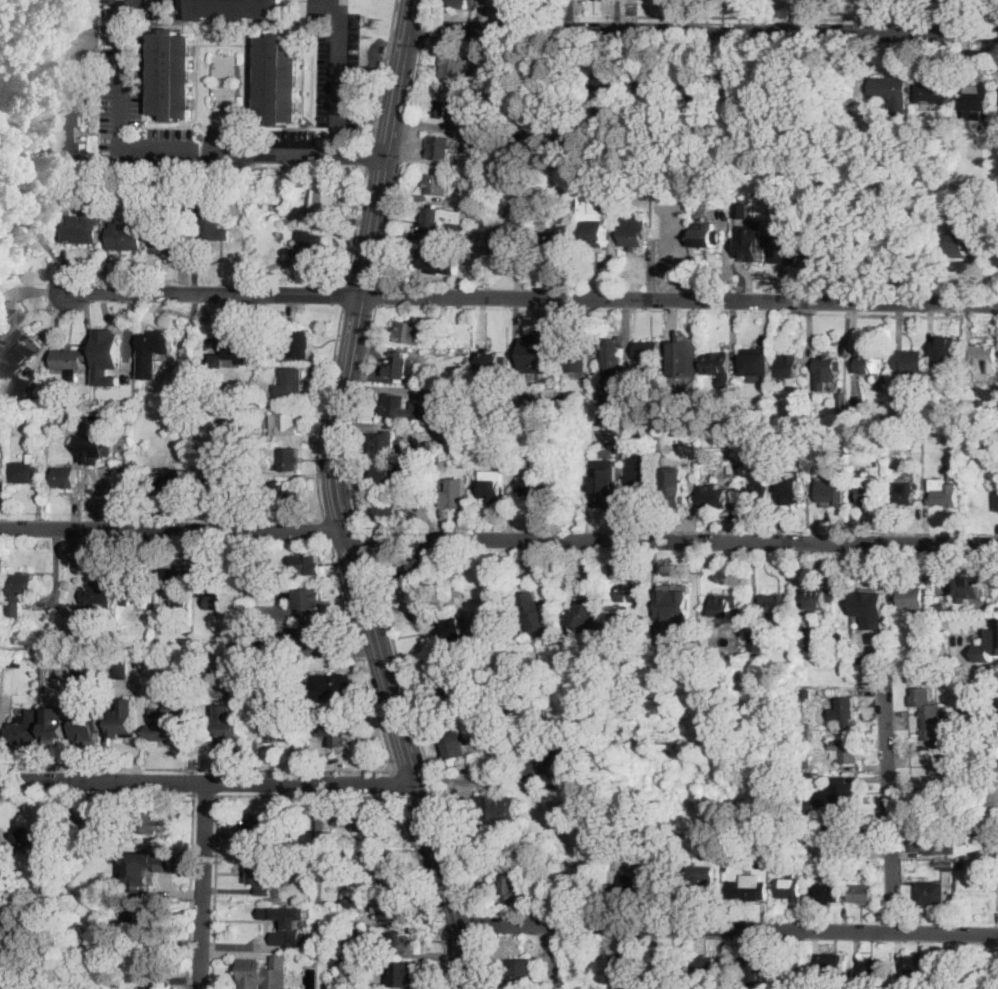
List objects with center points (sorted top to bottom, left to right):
building: (459, 4)
road: (429, 7)
building: (238, 9)
road: (679, 15)
road: (899, 16)
road: (996, 16)
road: (425, 25)
road: (703, 28)
building: (226, 36)
building: (40, 46)
road: (532, 56)
road: (340, 64)
building: (454, 65)
road: (382, 72)
building: (172, 74)
building: (279, 79)
building: (930, 92)
building: (892, 94)
building: (607, 99)
building: (655, 100)
building: (741, 101)
building: (978, 101)
building: (701, 102)
road: (121, 103)
building: (446, 107)
building: (64, 113)
building: (532, 145)
building: (440, 147)
road: (788, 152)
road: (306, 154)
road: (369, 158)
road: (401, 159)
building: (439, 182)
building: (153, 183)
building: (590, 187)
building: (325, 201)
building: (31, 203)
building: (186, 206)
building: (741, 210)
building: (439, 219)
building: (4, 226)
building: (213, 226)
road: (356, 227)
building: (632, 231)
building: (81, 234)
building: (597, 234)
building: (563, 236)
building: (707, 236)
building: (126, 238)
building: (512, 239)
building: (783, 240)
building: (751, 241)
building: (963, 243)
building: (167, 244)
building: (308, 248)
road: (56, 257)
building: (430, 257)
building: (997, 258)
road: (378, 292)
road: (344, 296)
road: (532, 298)
road: (905, 317)
power tower: (204, 318)
building: (10, 319)
building: (407, 331)
building: (157, 341)
building: (295, 344)
building: (114, 348)
building: (647, 351)
building: (235, 352)
building: (538, 354)
building: (579, 354)
building: (610, 354)
building: (7, 355)
building: (983, 356)
building: (491, 360)
building: (946, 360)
building: (71, 361)
building: (682, 361)
building: (718, 361)
building: (909, 361)
building: (759, 363)
building: (400, 364)
building: (869, 364)
building: (130, 365)
building: (789, 366)
building: (826, 372)
building: (793, 381)
building: (23, 385)
building: (291, 385)
building: (131, 386)
building: (143, 388)
building: (46, 390)
building: (551, 395)
building: (613, 395)
building: (7, 397)
building: (919, 398)
building: (842, 399)
building: (979, 407)
building: (405, 408)
building: (93, 412)
building: (203, 412)
road: (323, 412)
building: (637, 412)
building: (872, 412)
building: (218, 413)
road: (356, 415)
building: (613, 415)
building: (807, 419)
building: (942, 421)
building: (285, 423)
building: (856, 433)
building: (896, 441)
building: (389, 443)
building: (504, 443)
building: (100, 446)
building: (454, 446)
building: (291, 458)
building: (443, 462)
building: (244, 465)
building: (26, 469)
building: (387, 472)
building: (638, 475)
building: (66, 476)
building: (3, 478)
building: (214, 478)
building: (604, 481)
building: (169, 485)
building: (491, 485)
building: (537, 488)
building: (790, 491)
building: (457, 492)
building: (831, 493)
building: (945, 493)
building: (905, 494)
building: (673, 495)
building: (868, 495)
building: (715, 496)
building: (757, 496)
building: (263, 497)
building: (286, 497)
road: (340, 499)
building: (997, 499)
building: (386, 509)
road: (325, 529)
road: (363, 537)
road: (498, 538)
building: (306, 566)
building: (414, 571)
building: (176, 582)
building: (1, 583)
building: (215, 586)
building: (136, 589)
building: (970, 589)
building: (20, 591)
building: (98, 596)
building: (675, 596)
building: (626, 597)
building: (312, 599)
building: (818, 599)
building: (912, 599)
building: (870, 602)
building: (725, 603)
building: (776, 605)
building: (939, 608)
building: (119, 609)
building: (583, 613)
building: (533, 614)
building: (183, 618)
building: (996, 621)
building: (675, 625)
building: (451, 628)
building: (318, 636)
building: (13, 640)
power tower: (32, 641)
building: (756, 642)
building: (808, 644)
road: (363, 654)
building: (861, 655)
building: (258, 669)
building: (121, 670)
building: (85, 676)
building: (74, 687)
building: (332, 687)
building: (241, 689)
building: (453, 690)
building: (261, 691)
building: (181, 696)
building: (302, 704)
building: (844, 711)
building: (965, 716)
building: (126, 720)
building: (974, 721)
building: (56, 723)
building: (163, 724)
building: (89, 726)
building: (70, 727)
building: (26, 728)
building: (275, 728)
building: (230, 729)
road: (419, 730)
building: (934, 730)
building: (341, 731)
building: (807, 734)
building: (457, 746)
building: (848, 751)
building: (568, 752)
building: (807, 762)
road: (888, 767)
road: (197, 770)
building: (811, 774)
road: (488, 780)
road: (399, 782)
road: (209, 784)
building: (979, 786)
building: (838, 794)
road: (194, 795)
road: (207, 795)
road: (311, 796)
building: (810, 805)
building: (497, 808)
building: (86, 813)
building: (104, 817)
building: (987, 818)
building: (370, 819)
building: (811, 819)
building: (338, 820)
building: (149, 823)
building: (322, 824)
building: (265, 829)
building: (969, 832)
building: (993, 836)
building: (53, 838)
building: (847, 839)
building: (931, 841)
building: (784, 861)
building: (540, 862)
building: (718, 862)
building: (847, 862)
building: (762, 863)
building: (824, 863)
building: (944, 864)
building: (147, 865)
building: (613, 865)
building: (387, 866)
building: (873, 866)
building: (263, 875)
building: (347, 881)
building: (516, 881)
building: (699, 885)
road: (202, 887)
building: (635, 888)
building: (748, 888)
building: (790, 888)
road: (429, 891)
building: (25, 892)
road: (216, 892)
building: (827, 893)
building: (931, 893)
building: (863, 894)
building: (354, 901)
building: (0, 908)
building: (396, 909)
building: (143, 917)
road: (472, 923)
building: (290, 926)
road: (726, 927)
building: (337, 928)
building: (408, 942)
building: (145, 948)
building: (352, 948)
building: (4, 956)
building: (347, 958)
road: (480, 961)
building: (91, 963)
building: (623, 964)
building: (671, 965)
building: (706, 966)
building: (834, 966)
building: (747, 967)
building: (792, 967)
building: (522, 970)
building: (871, 970)
building: (916, 970)
building: (251, 973)
building: (0, 974)
building: (406, 974)
building: (647, 980)
building: (45, 981)
building: (17, 985)
building: (91, 985)
building: (150, 985)
building: (920, 986)
building: (29, 988)
building: (849, 988)

